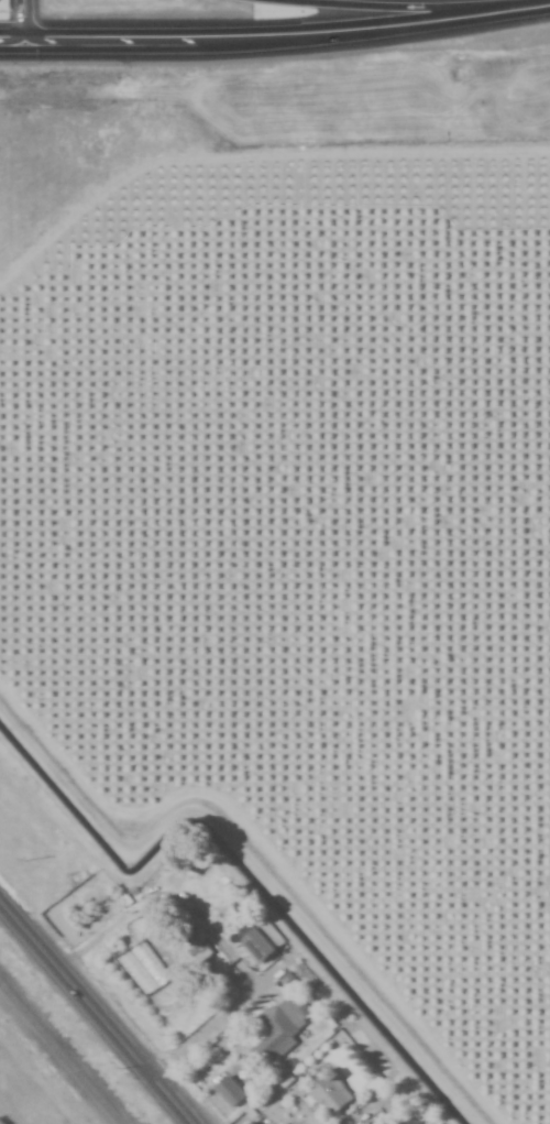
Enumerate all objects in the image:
crop: (301, 1)
road: (406, 6)
road: (18, 20)
road: (275, 35)
crop: (293, 511)
road: (167, 894)
building: (253, 945)
building: (195, 948)
road: (91, 1015)
road: (226, 1015)
building: (276, 1026)
railway: (58, 1056)
building: (326, 1091)
building: (226, 1092)
road: (373, 1111)
crop: (1, 1122)

